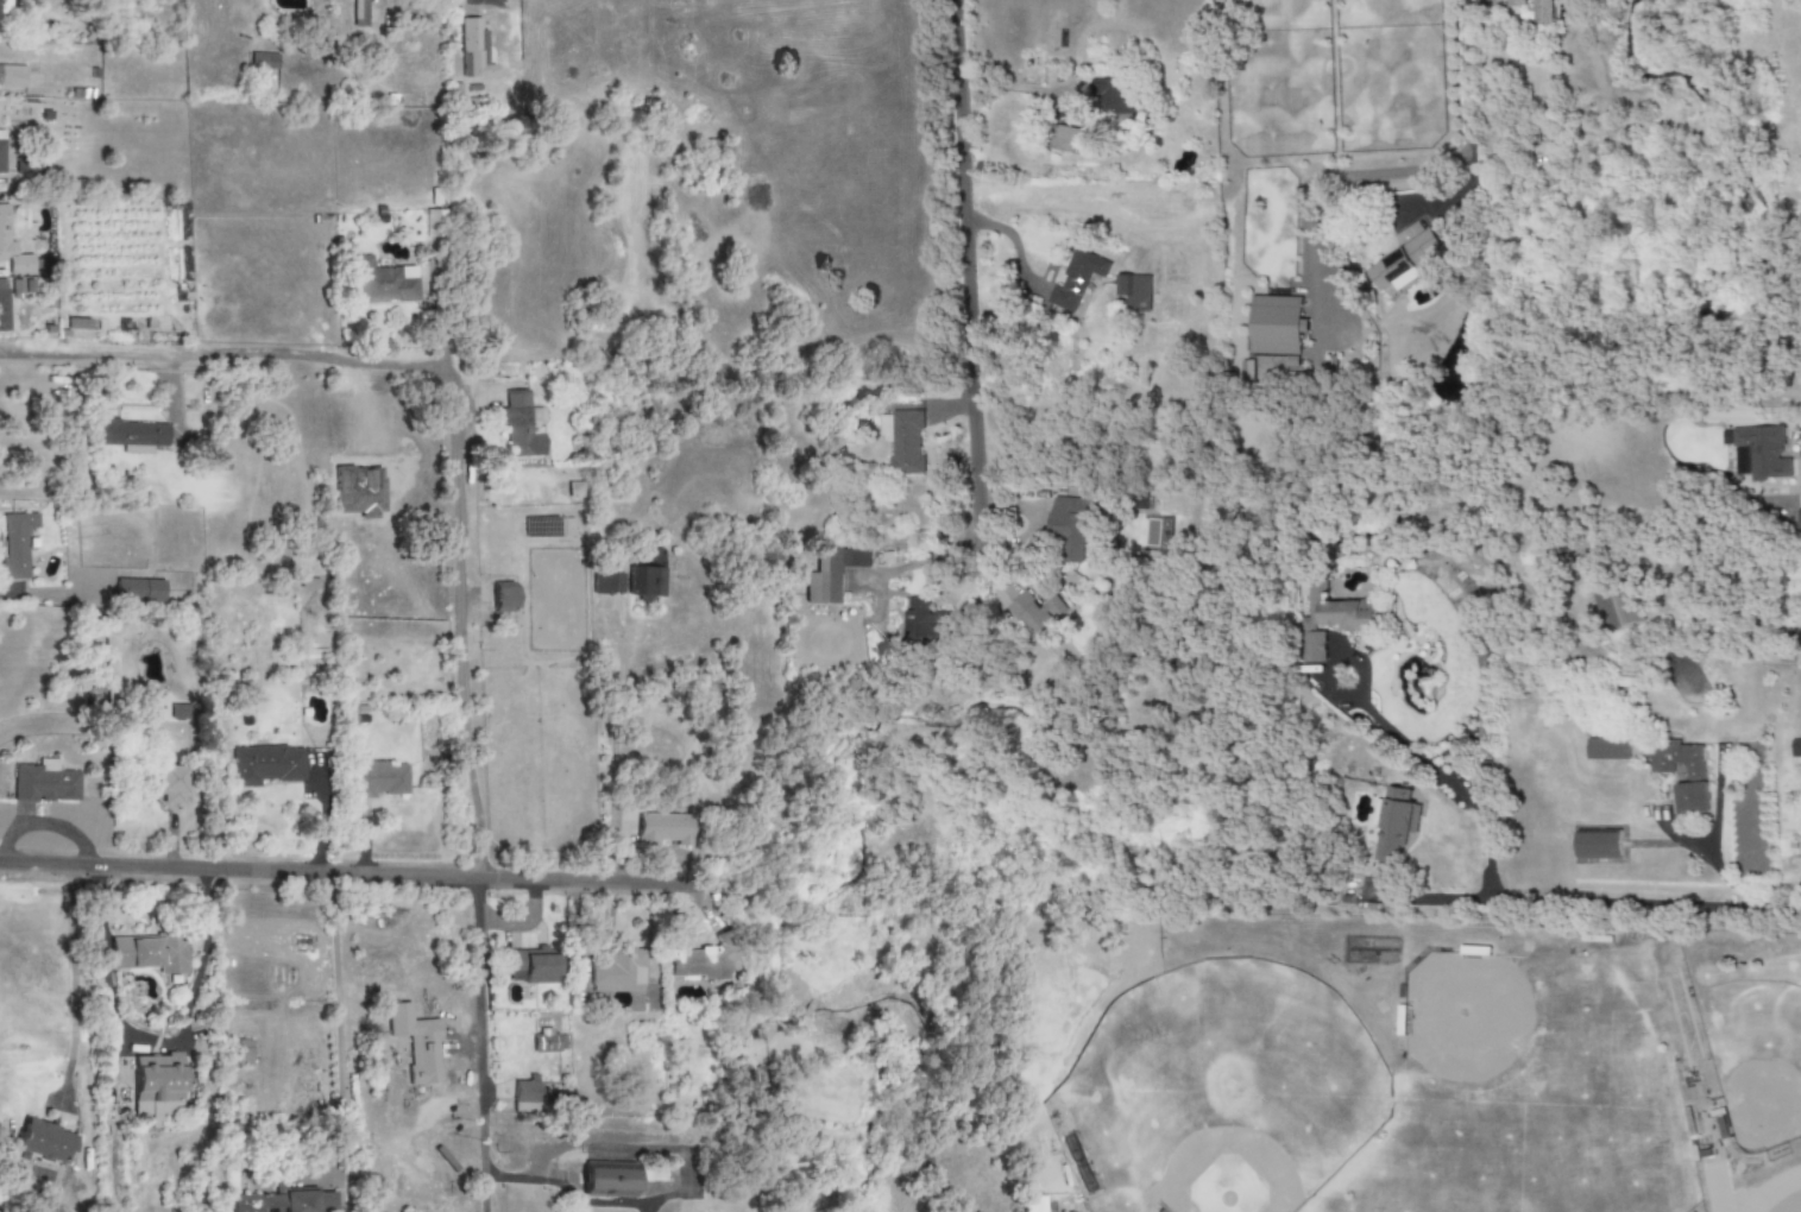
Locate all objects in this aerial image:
building: (1515, 4)
building: (6, 6)
building: (1541, 12)
building: (473, 50)
building: (263, 61)
building: (12, 76)
building: (1115, 96)
road: (1465, 122)
building: (1065, 139)
building: (1, 151)
building: (29, 164)
building: (12, 250)
road: (964, 257)
building: (1404, 261)
building: (1076, 279)
building: (383, 283)
building: (1134, 292)
building: (4, 305)
building: (1276, 326)
road: (459, 391)
building: (519, 425)
building: (131, 434)
building: (903, 441)
building: (1761, 453)
building: (1075, 526)
building: (15, 545)
road: (920, 561)
building: (831, 573)
building: (646, 579)
building: (615, 582)
building: (139, 589)
road: (46, 596)
road: (1734, 601)
building: (1614, 610)
building: (1039, 613)
building: (926, 620)
road: (1135, 650)
road: (613, 749)
building: (1795, 751)
building: (265, 765)
road: (1443, 776)
building: (379, 778)
building: (1695, 778)
building: (44, 783)
building: (169, 785)
building: (1394, 822)
road: (321, 826)
building: (661, 829)
road: (360, 876)
road: (1435, 899)
road: (1650, 904)
building: (149, 954)
building: (531, 966)
building: (619, 972)
road: (75, 984)
road: (810, 1010)
road: (336, 1011)
road: (122, 1040)
building: (416, 1043)
road: (479, 1047)
building: (241, 1053)
building: (157, 1086)
building: (44, 1142)
road: (519, 1178)
building: (607, 1180)
track: (1715, 1188)
track: (1772, 1191)
road: (679, 1198)
building: (329, 1201)
building: (273, 1202)

